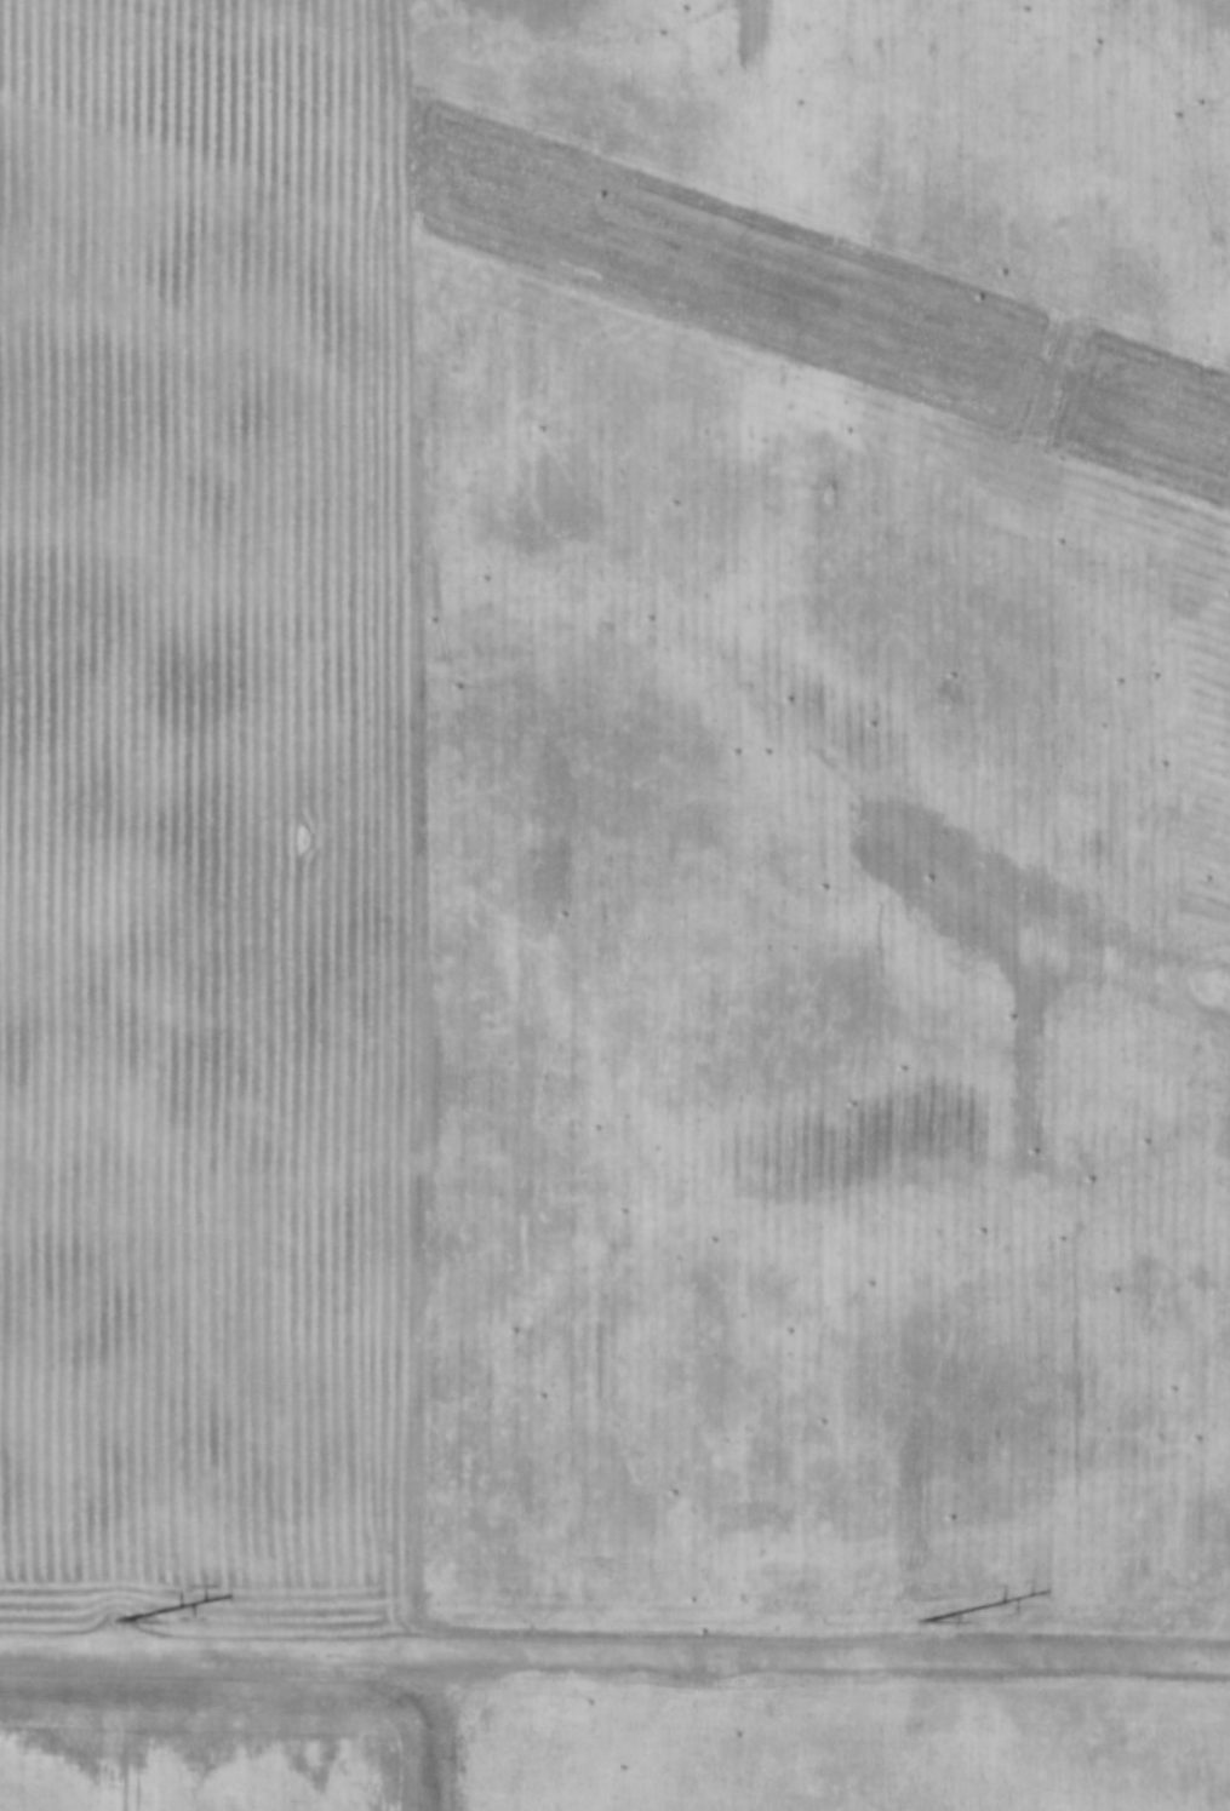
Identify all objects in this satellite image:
power tower: (113, 1618)
power tower: (909, 1622)

